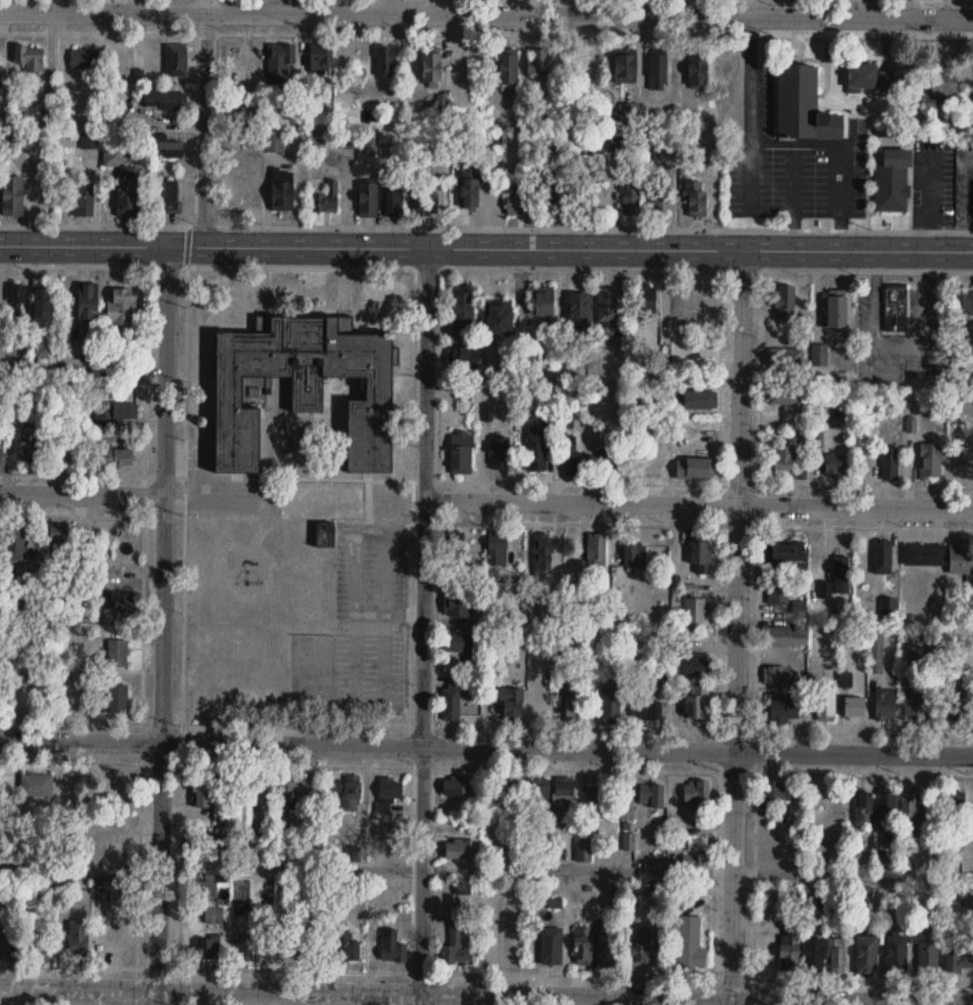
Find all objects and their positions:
road: (486, 14)
road: (107, 31)
road: (594, 34)
building: (321, 57)
building: (30, 59)
building: (83, 60)
building: (177, 61)
building: (279, 61)
building: (385, 62)
building: (538, 63)
building: (726, 66)
building: (431, 68)
building: (587, 69)
building: (625, 69)
building: (508, 70)
building: (698, 71)
building: (658, 73)
building: (869, 78)
building: (943, 83)
building: (165, 102)
building: (803, 108)
building: (243, 118)
road: (204, 122)
building: (91, 142)
building: (348, 142)
building: (275, 144)
building: (167, 149)
road: (775, 151)
building: (893, 183)
building: (469, 195)
building: (12, 197)
building: (126, 197)
building: (282, 197)
building: (171, 198)
building: (326, 199)
building: (558, 199)
building: (630, 199)
building: (662, 199)
building: (425, 200)
building: (695, 200)
road: (793, 200)
building: (368, 201)
building: (83, 204)
building: (392, 204)
building: (521, 207)
road: (94, 223)
road: (486, 247)
building: (17, 294)
building: (646, 300)
building: (703, 300)
building: (87, 301)
building: (964, 301)
building: (542, 302)
building: (785, 303)
building: (0, 305)
building: (579, 305)
building: (607, 305)
building: (897, 307)
building: (43, 309)
building: (121, 312)
building: (837, 312)
building: (463, 313)
building: (499, 318)
building: (39, 353)
building: (820, 354)
building: (462, 358)
building: (790, 359)
road: (82, 368)
road: (759, 376)
building: (226, 387)
building: (784, 393)
building: (700, 398)
building: (117, 411)
road: (144, 441)
road: (185, 441)
building: (27, 445)
building: (462, 451)
building: (537, 451)
building: (500, 452)
building: (115, 457)
building: (614, 457)
building: (785, 457)
building: (571, 459)
building: (931, 461)
building: (835, 464)
building: (890, 464)
building: (959, 464)
building: (695, 467)
road: (704, 482)
road: (81, 494)
road: (699, 503)
road: (616, 522)
building: (16, 540)
building: (59, 540)
building: (86, 541)
building: (498, 549)
building: (543, 550)
building: (598, 551)
building: (787, 552)
building: (635, 554)
building: (924, 554)
building: (700, 555)
building: (883, 556)
building: (959, 557)
building: (841, 574)
building: (826, 589)
building: (779, 591)
building: (114, 598)
building: (457, 602)
building: (889, 605)
building: (695, 610)
parking lot: (370, 616)
road: (162, 625)
road: (423, 626)
road: (737, 627)
road: (756, 629)
building: (782, 636)
road: (142, 638)
building: (460, 642)
building: (876, 652)
building: (117, 653)
building: (694, 665)
building: (780, 674)
building: (451, 701)
building: (695, 701)
building: (117, 702)
building: (511, 703)
building: (572, 703)
building: (611, 703)
building: (885, 703)
building: (916, 703)
building: (826, 704)
building: (854, 706)
building: (935, 708)
building: (961, 708)
building: (647, 710)
building: (784, 711)
road: (70, 719)
road: (326, 723)
road: (486, 746)
road: (357, 764)
road: (844, 772)
building: (36, 785)
building: (455, 786)
building: (390, 789)
building: (563, 790)
building: (696, 790)
building: (776, 790)
building: (205, 792)
building: (352, 792)
building: (287, 795)
building: (651, 795)
building: (540, 796)
building: (246, 800)
building: (595, 802)
building: (864, 808)
building: (955, 808)
building: (886, 811)
building: (910, 811)
building: (628, 841)
road: (139, 843)
building: (209, 843)
building: (460, 849)
building: (584, 851)
building: (353, 852)
road: (713, 852)
building: (694, 856)
road: (179, 862)
road: (366, 867)
road: (754, 867)
road: (853, 874)
building: (113, 887)
building: (205, 887)
building: (214, 916)
building: (78, 939)
building: (11, 940)
building: (457, 942)
building: (583, 945)
building: (551, 946)
building: (346, 947)
building: (392, 947)
building: (285, 948)
building: (207, 949)
building: (789, 949)
building: (691, 950)
building: (640, 951)
building: (814, 955)
building: (837, 955)
building: (867, 955)
building: (896, 955)
building: (927, 959)
building: (960, 961)
road: (842, 978)
road: (712, 990)
road: (486, 992)

